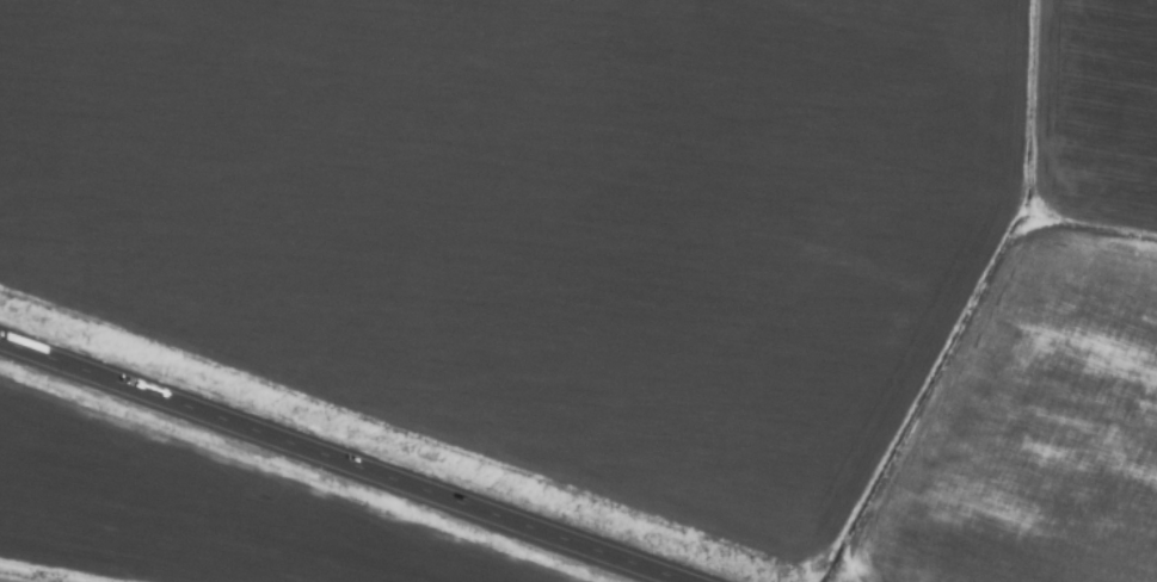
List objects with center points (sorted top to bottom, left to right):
crop: (578, 291)
road: (340, 462)

